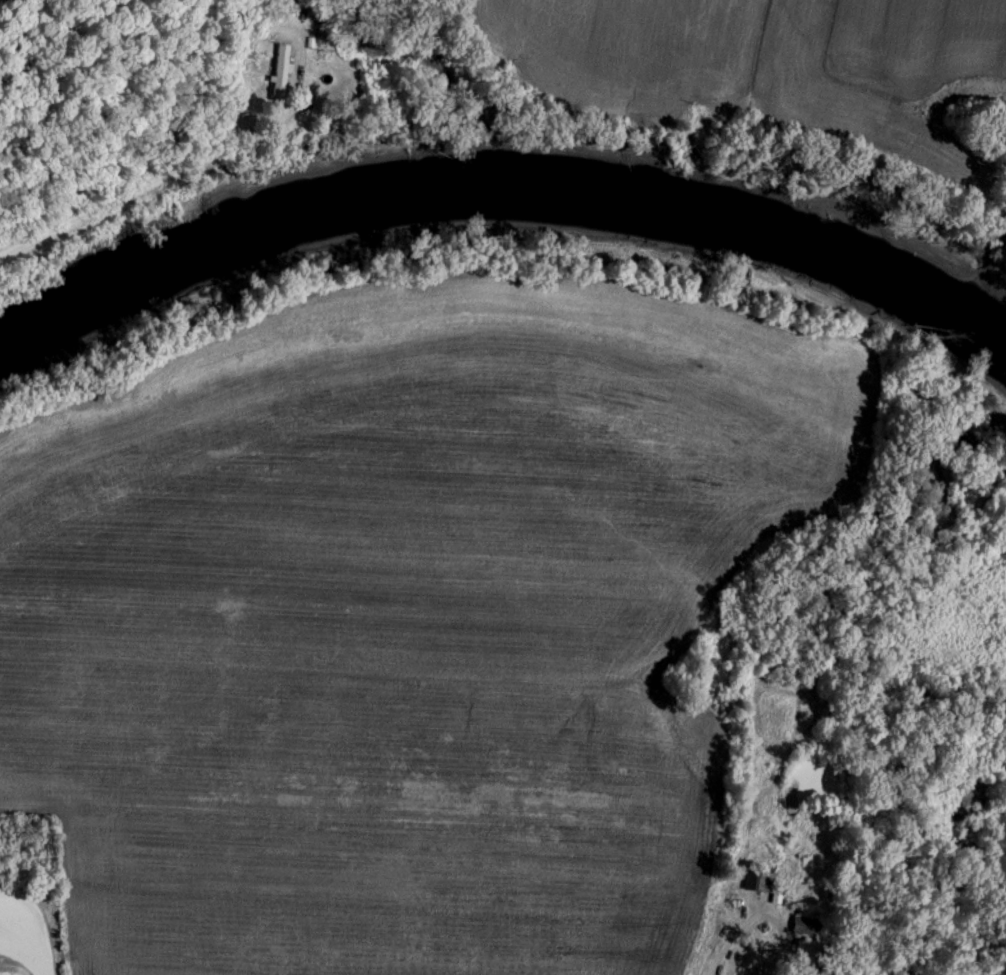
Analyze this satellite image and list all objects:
building: (282, 66)
road: (221, 101)
road: (81, 212)
building: (760, 883)
road: (756, 912)
building: (808, 927)

